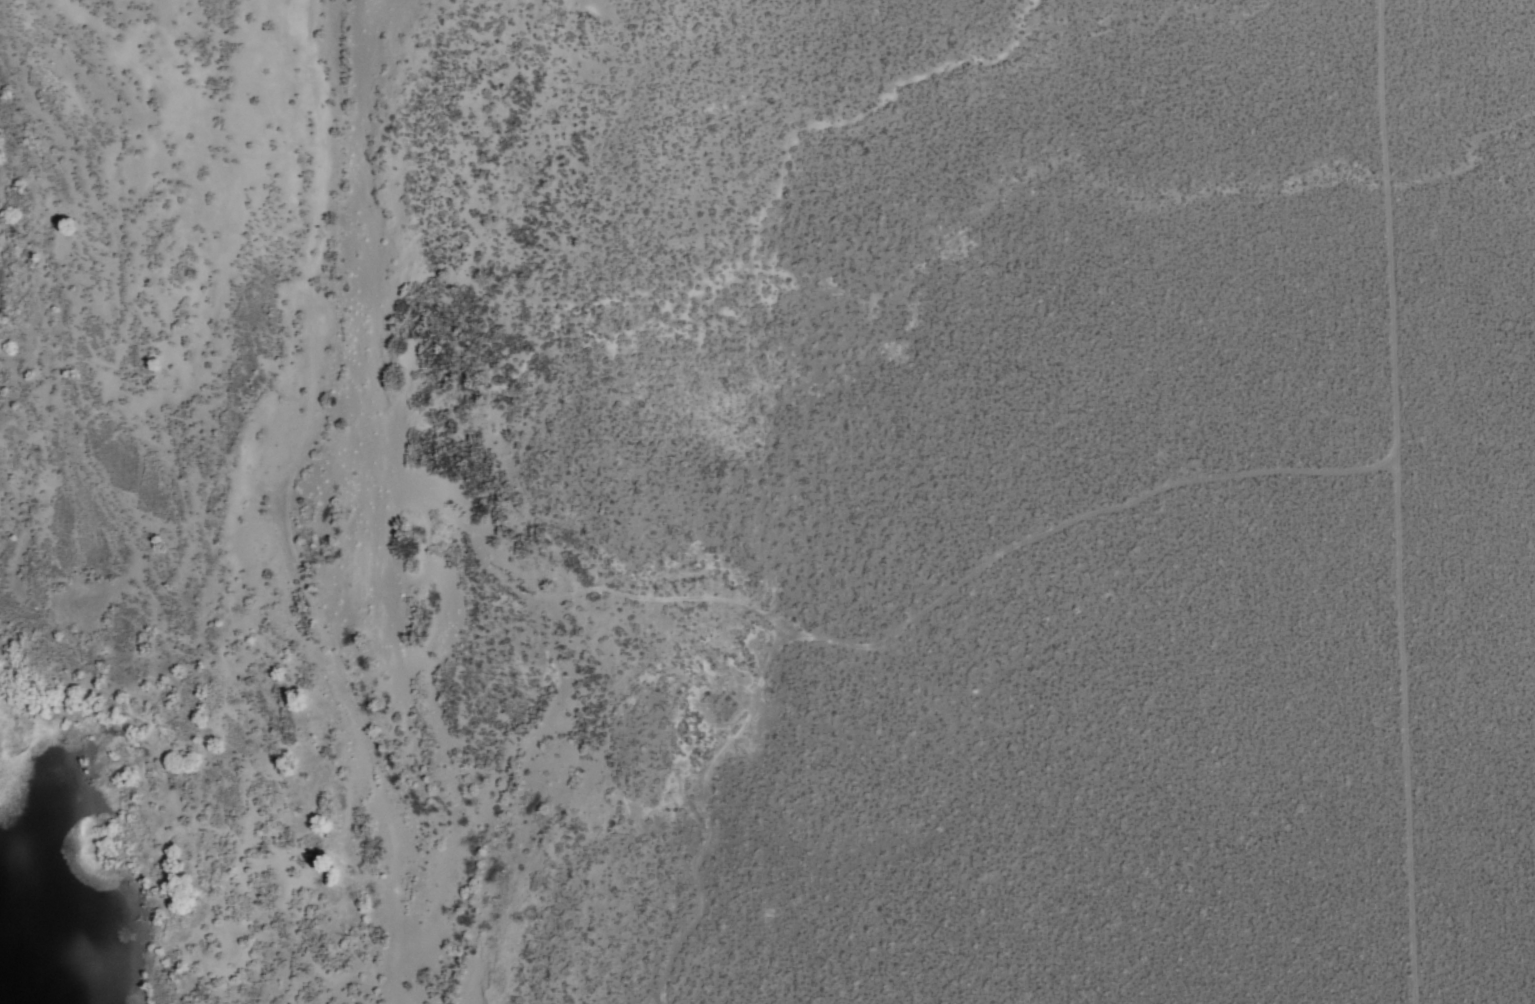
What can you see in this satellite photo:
road: (1400, 501)
road: (965, 581)
road: (708, 808)

